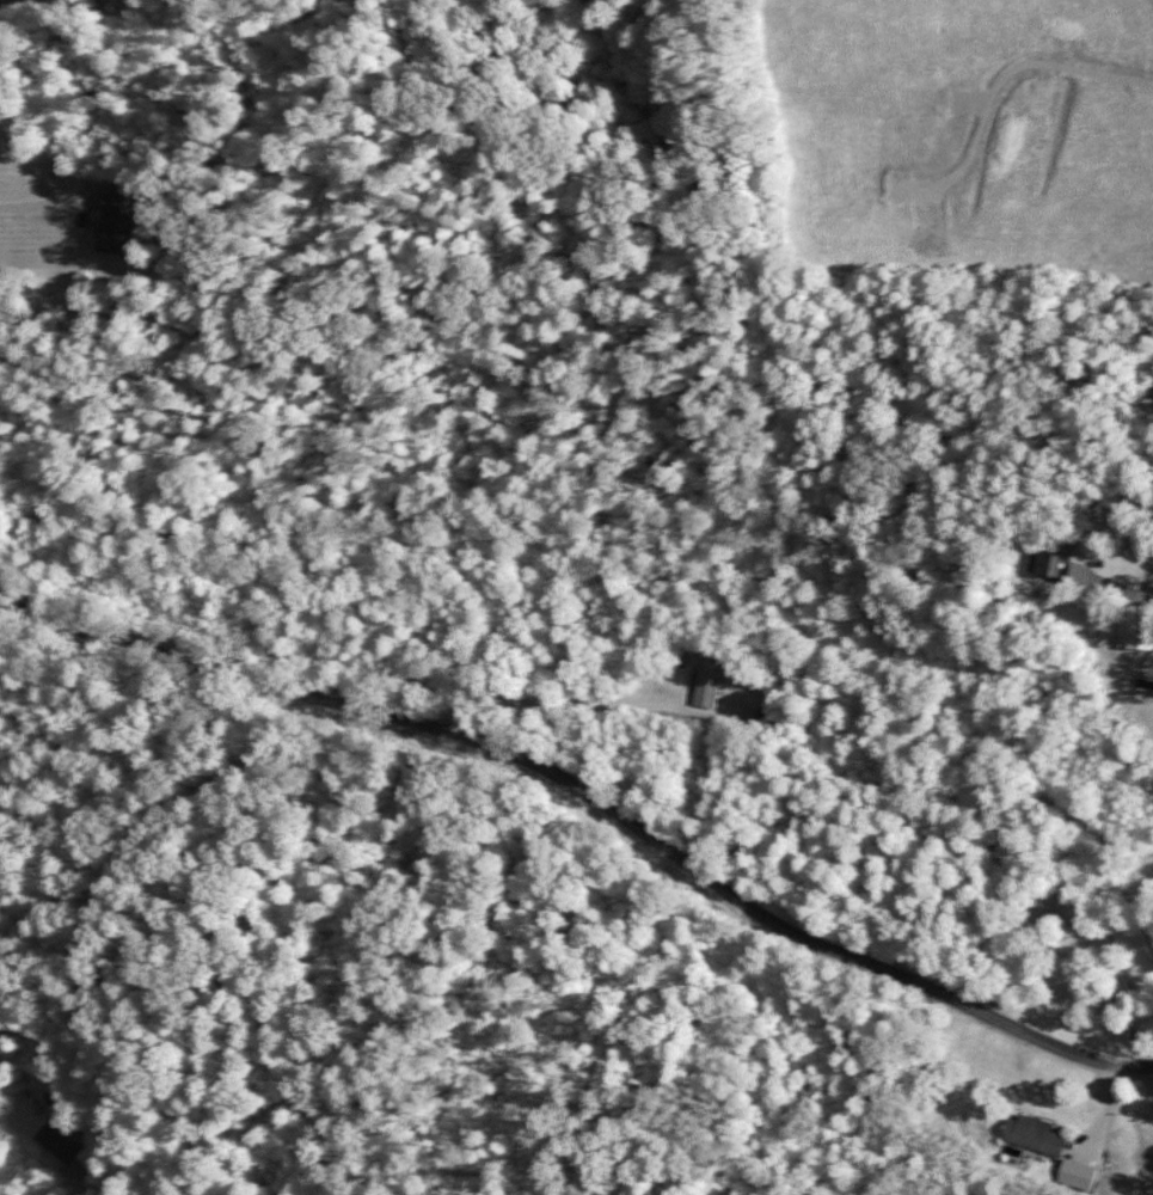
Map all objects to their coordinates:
building: (116, 212)
building: (1051, 566)
building: (1136, 625)
building: (706, 679)
road: (594, 792)
road: (139, 936)
building: (1030, 1134)

